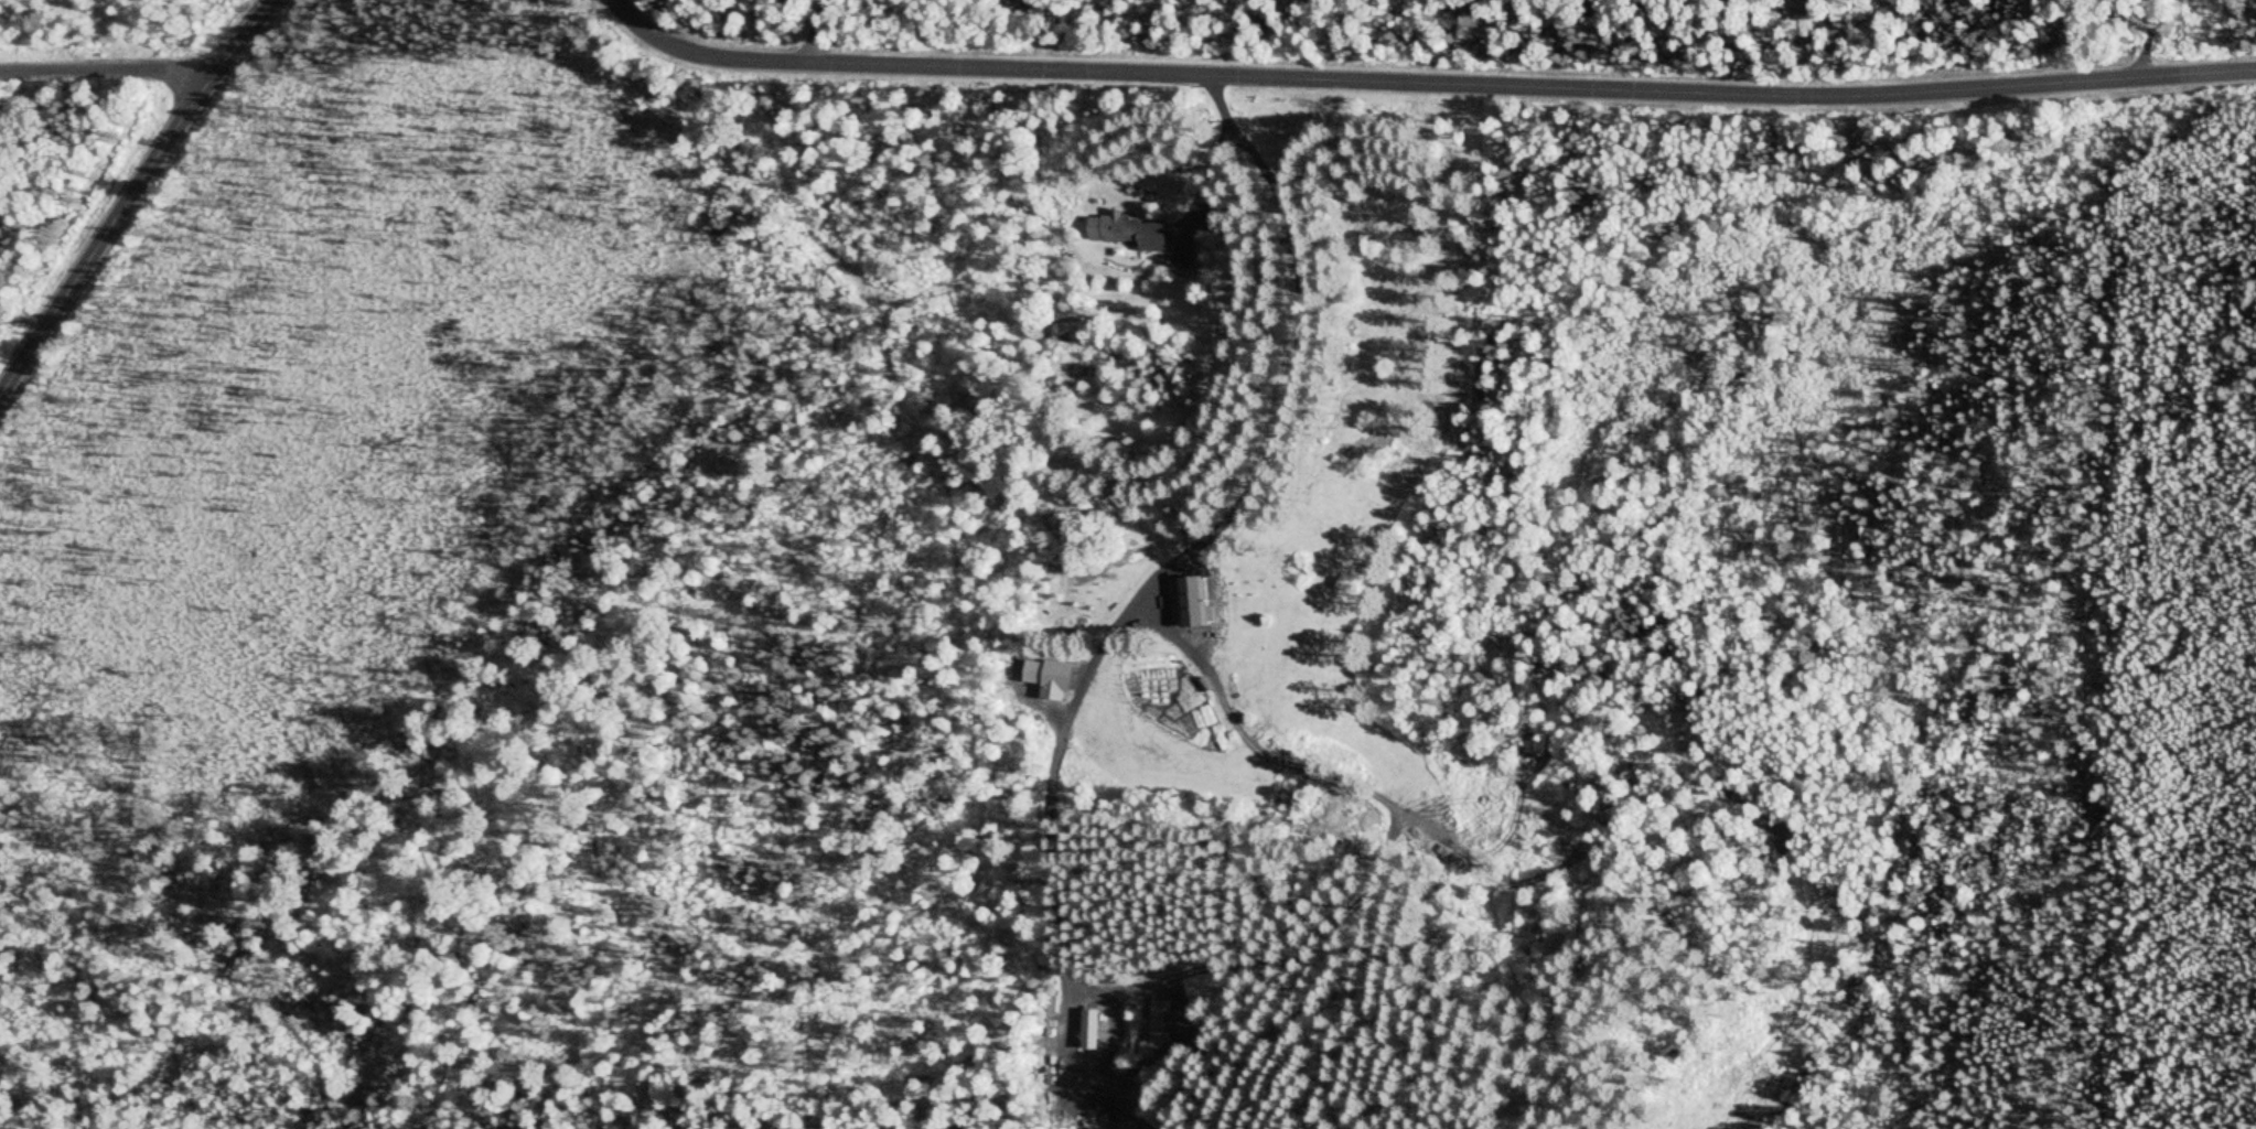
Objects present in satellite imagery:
road: (111, 66)
road: (1342, 75)
road: (2170, 77)
road: (133, 191)
building: (1194, 601)

